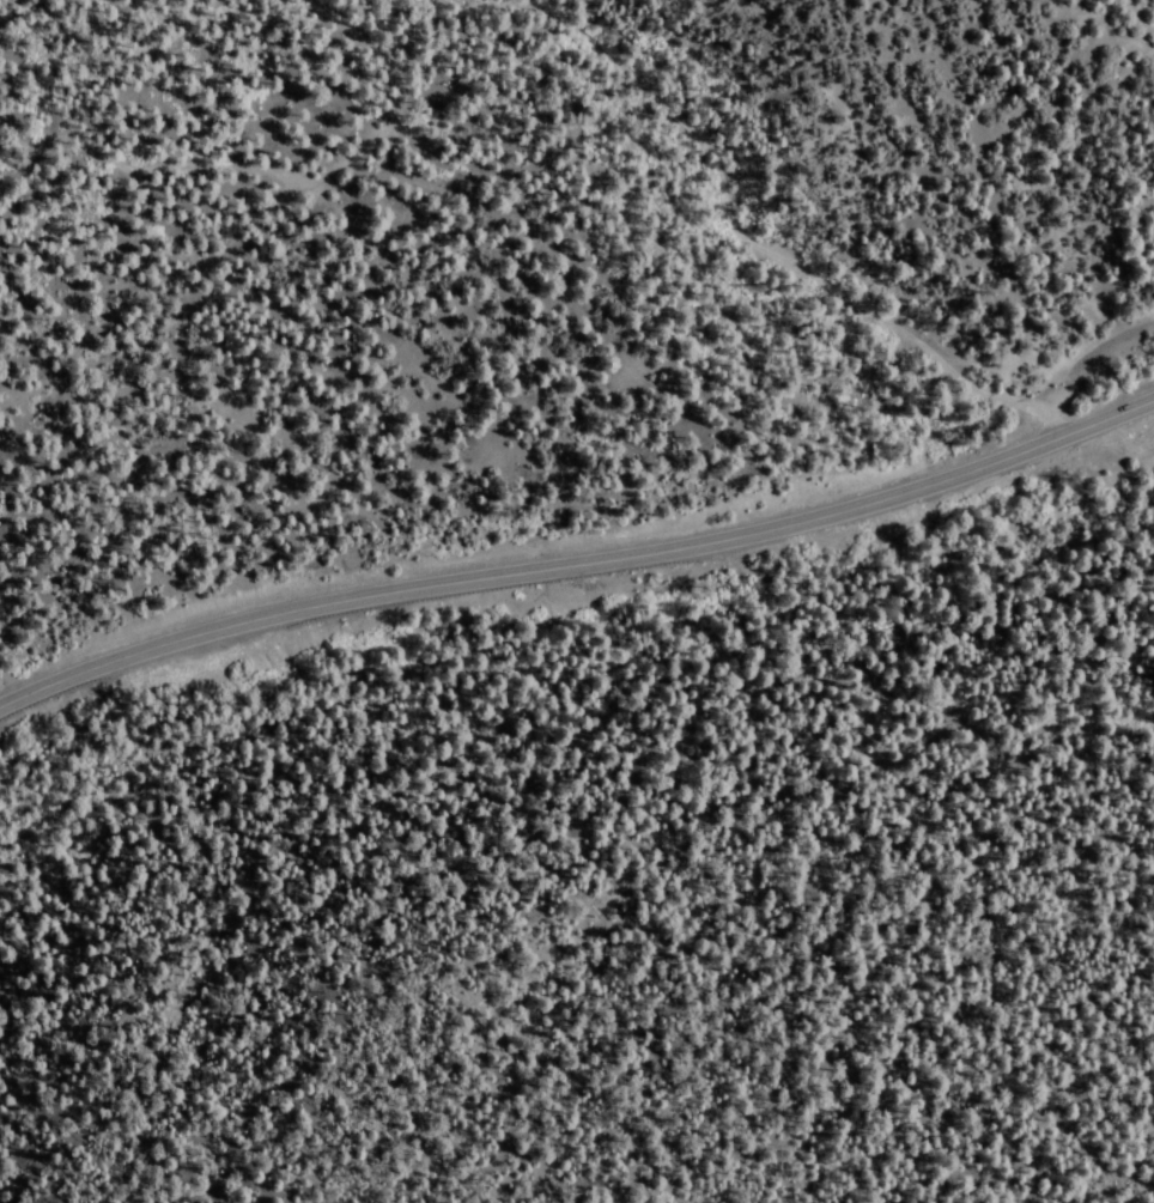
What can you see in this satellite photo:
road: (220, 133)
road: (792, 229)
road: (577, 558)

